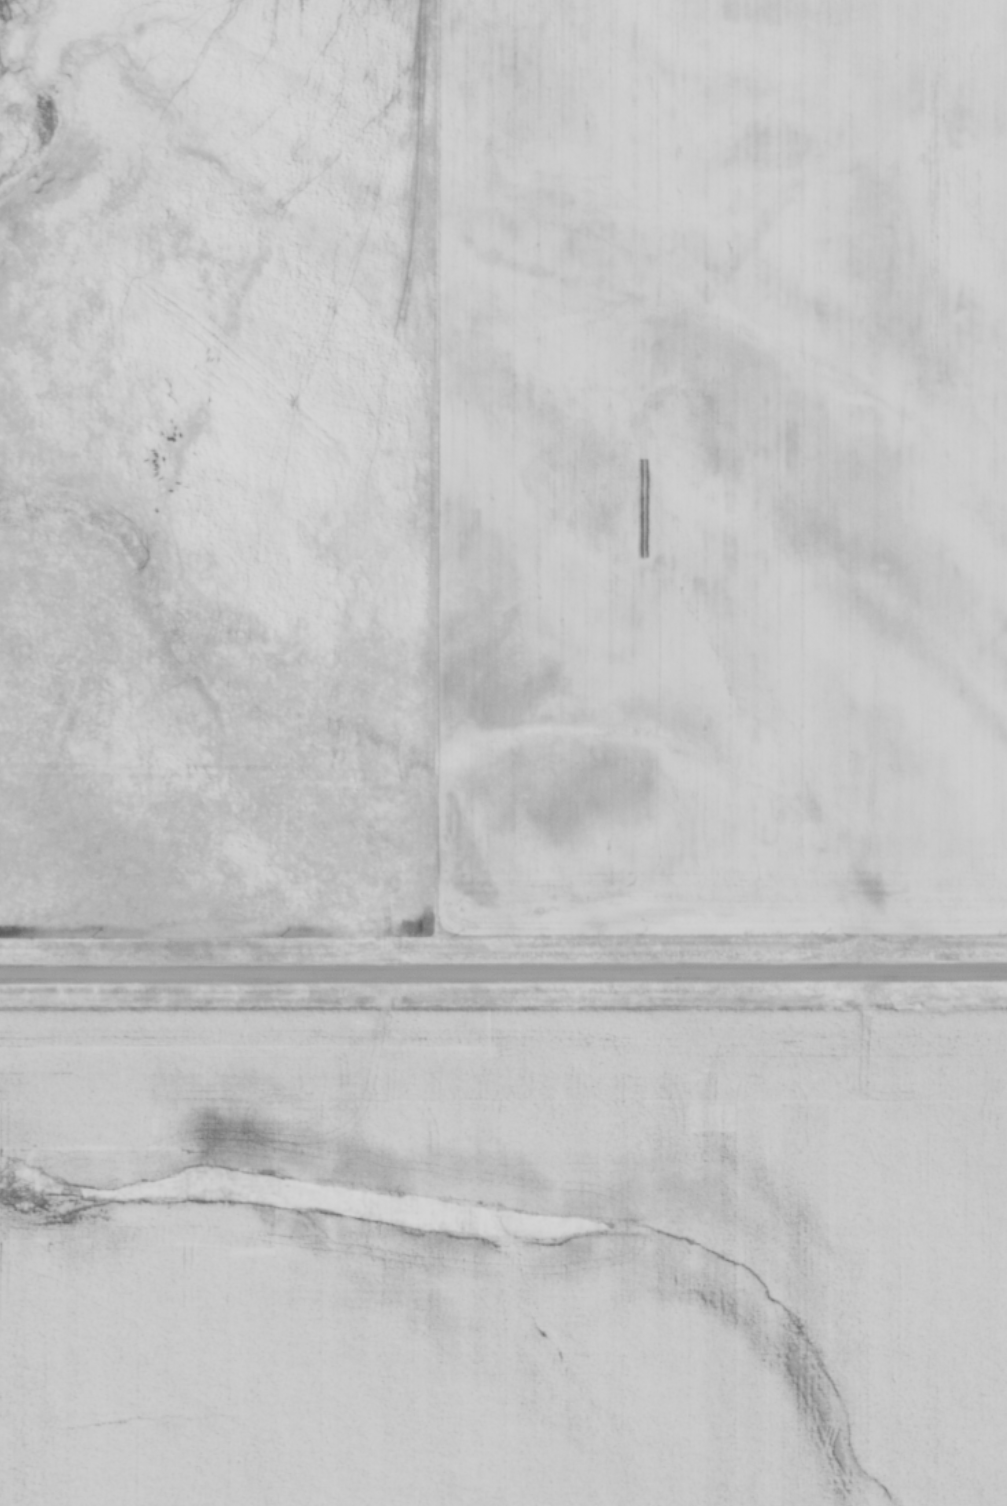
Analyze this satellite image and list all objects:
road: (503, 974)

